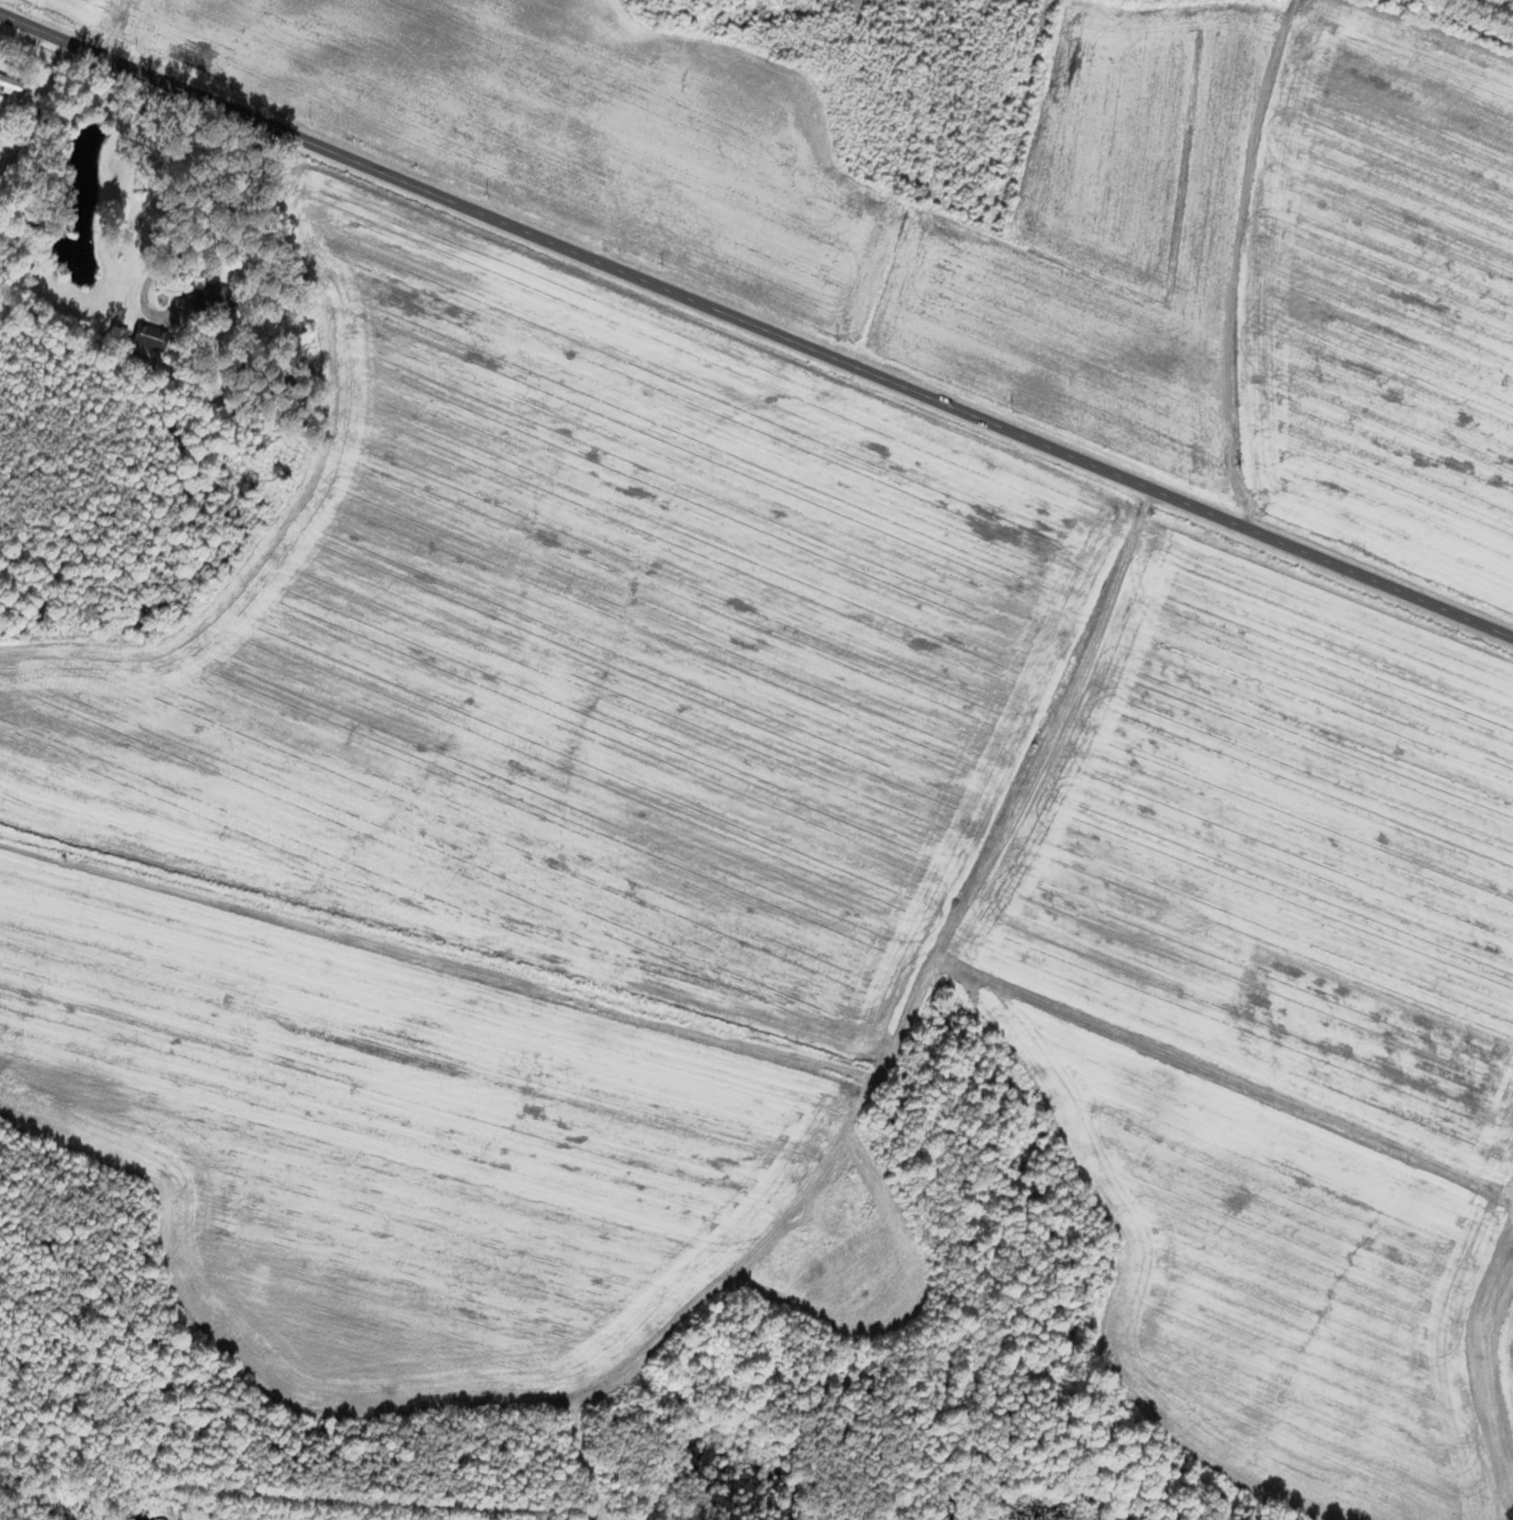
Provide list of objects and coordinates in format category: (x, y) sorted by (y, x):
building: (200, 294)
road: (756, 325)
building: (113, 336)

